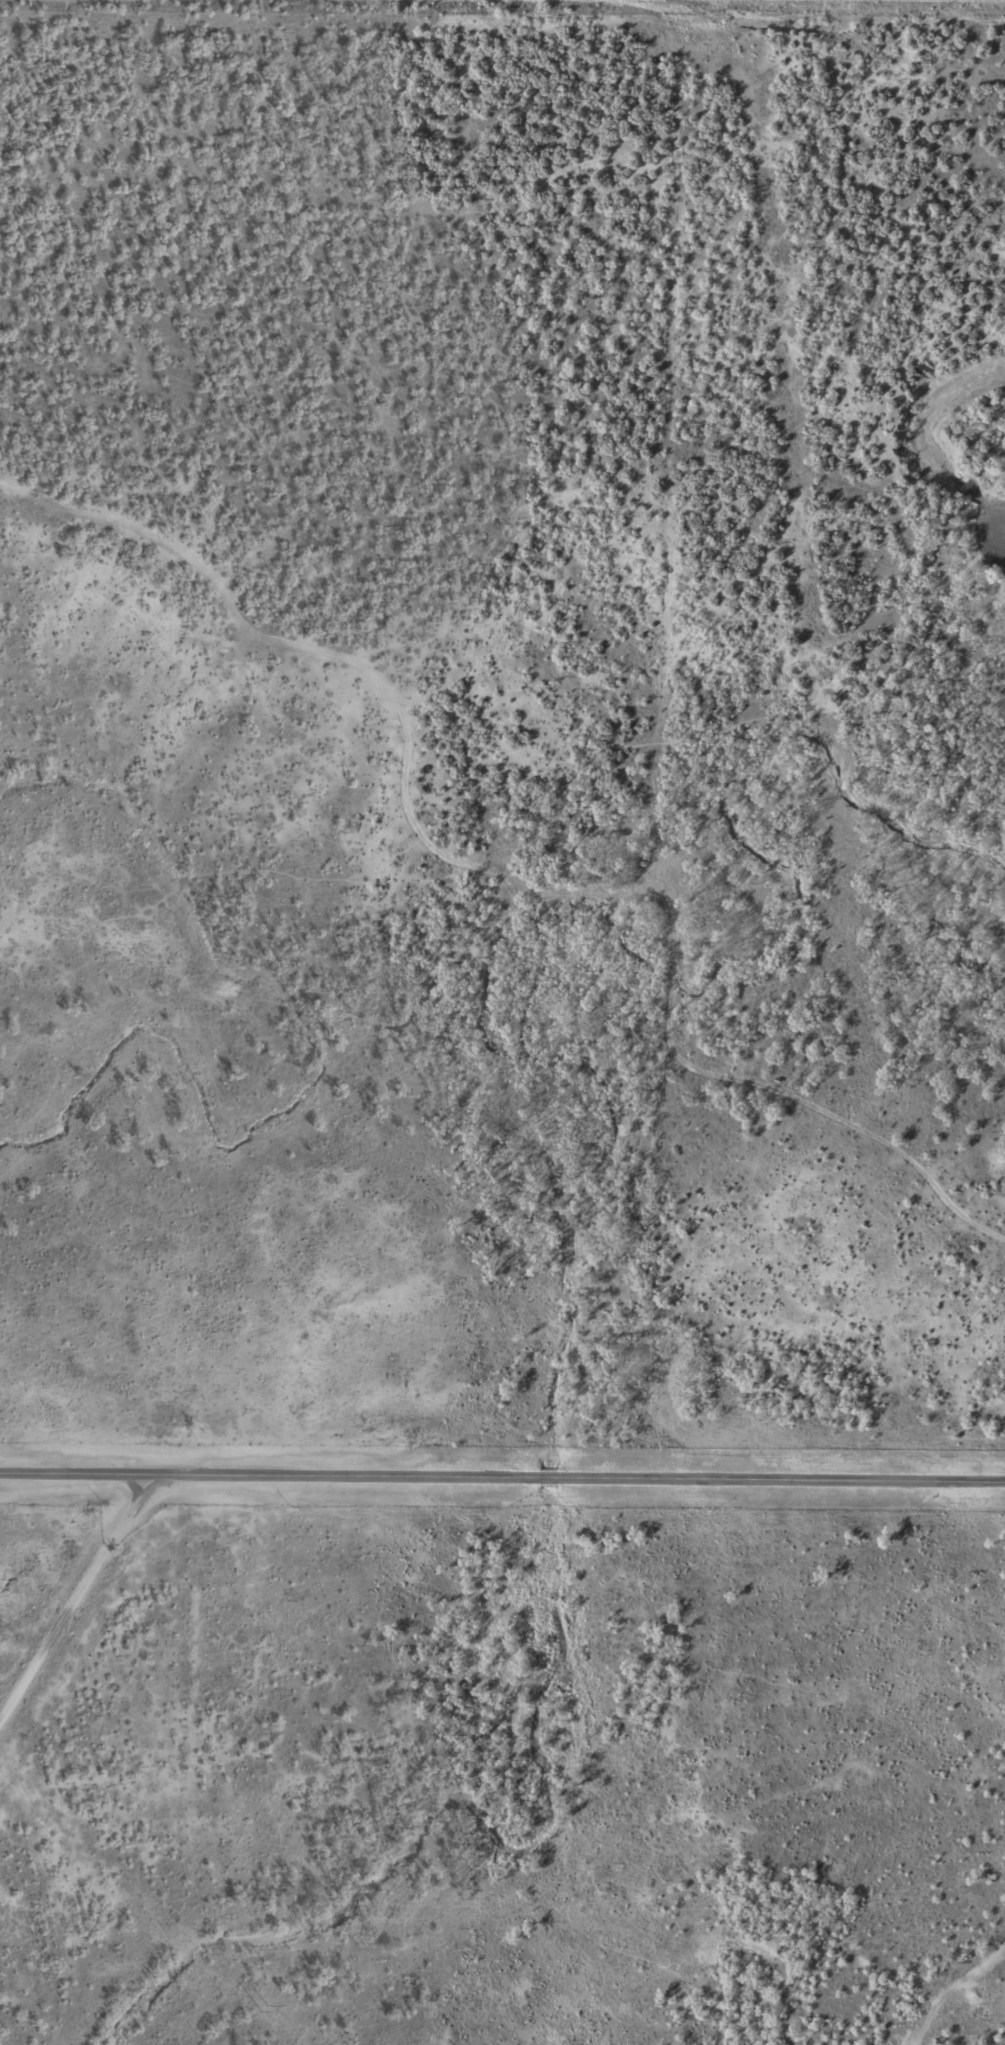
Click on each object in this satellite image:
road: (502, 1476)
road: (75, 1599)
power tower: (267, 2008)
road: (976, 2014)
building: (983, 2031)

